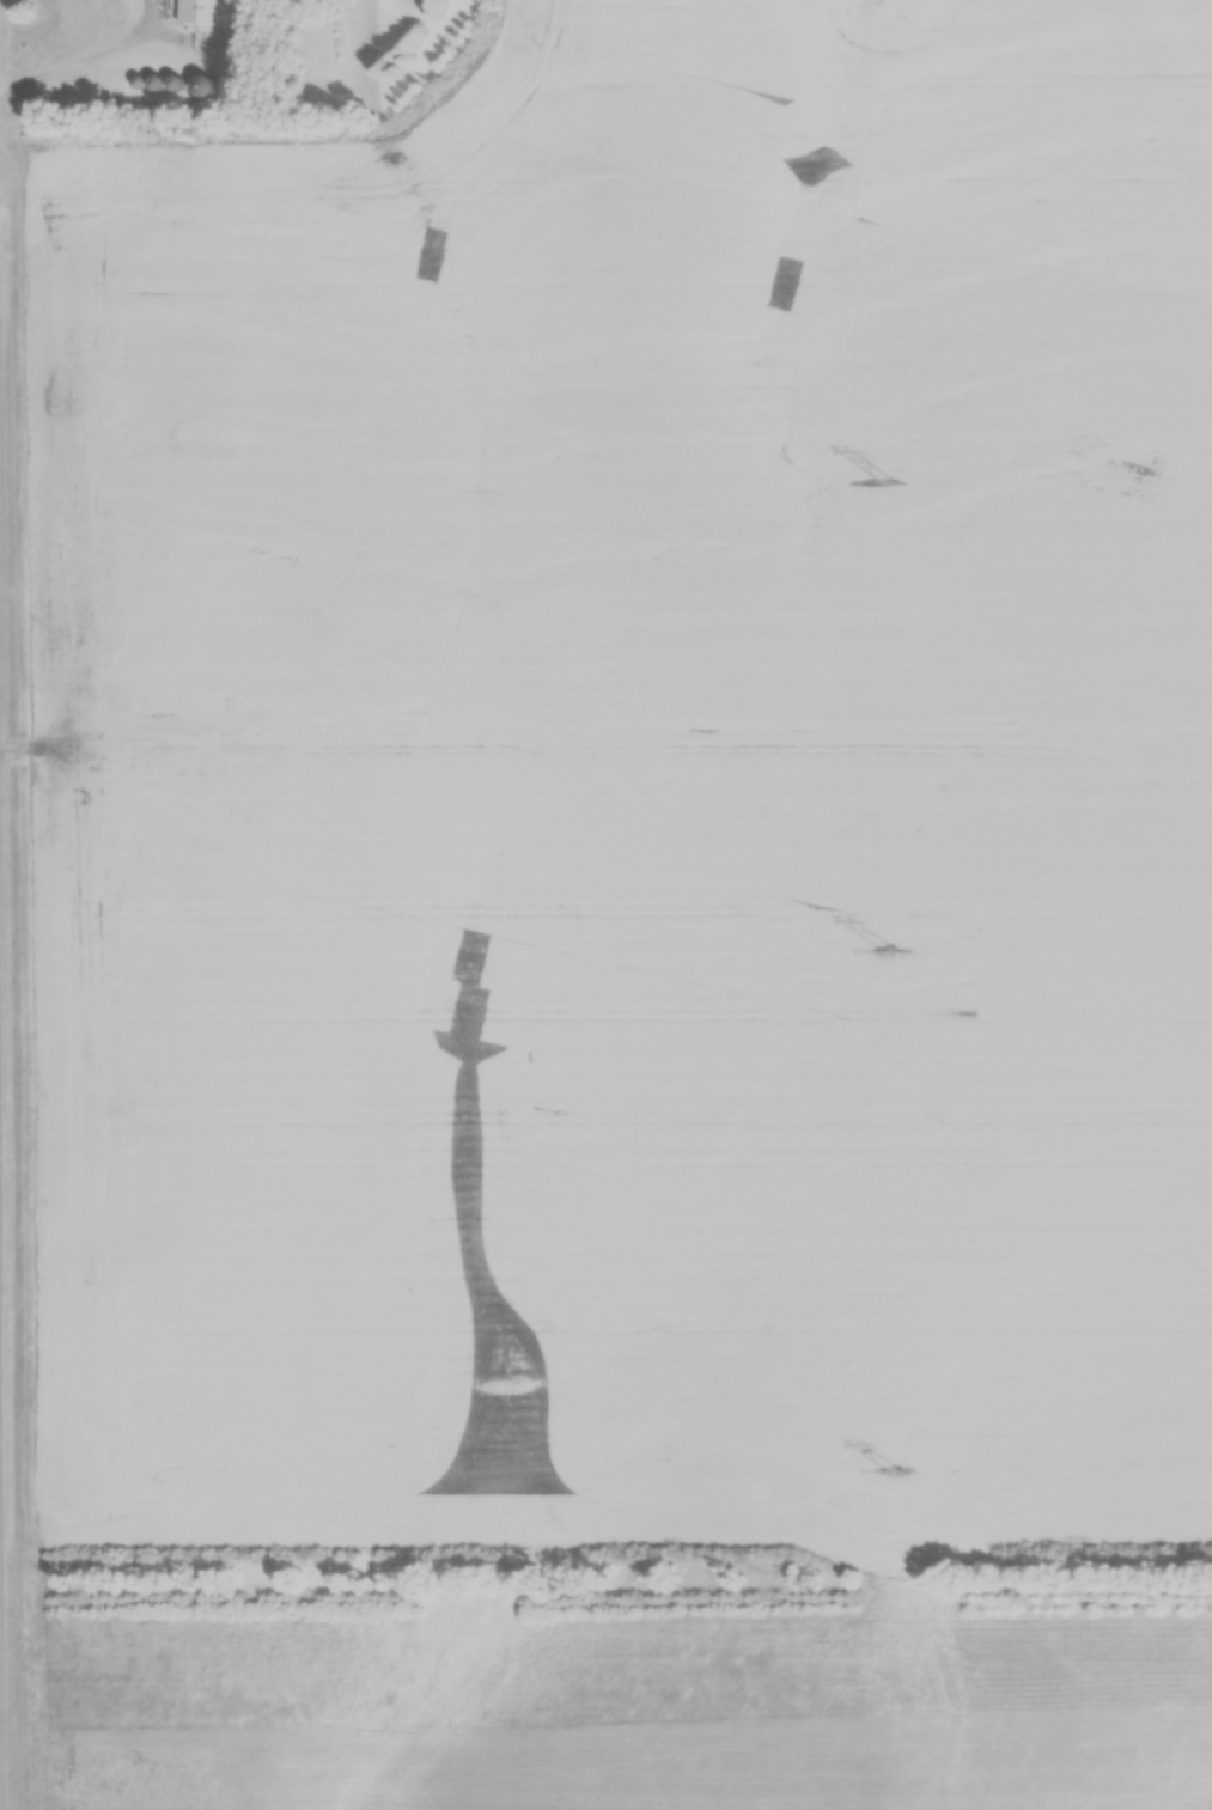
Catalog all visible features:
building: (202, 12)
building: (201, 87)
power tower: (887, 485)
power tower: (889, 952)
power tower: (895, 1471)

